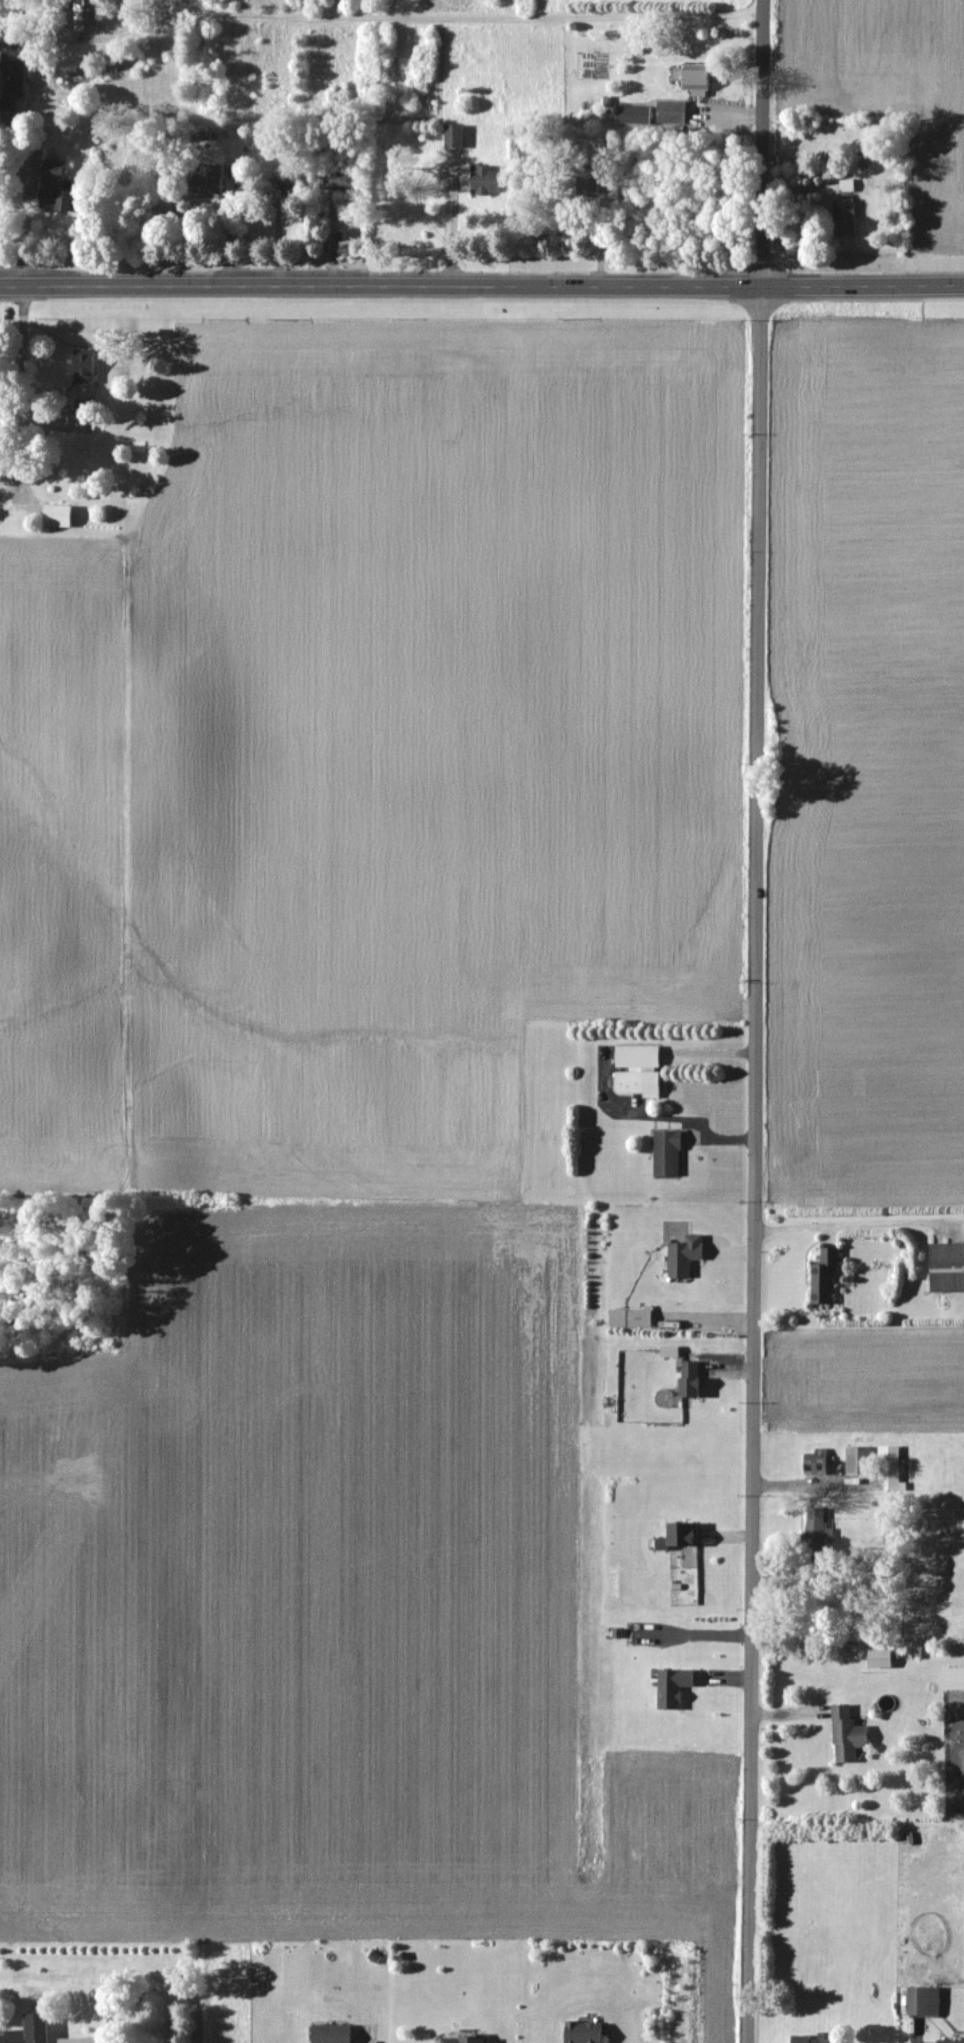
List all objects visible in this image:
building: (695, 78)
building: (10, 83)
building: (670, 111)
building: (454, 134)
building: (341, 176)
building: (484, 179)
building: (292, 180)
building: (587, 180)
building: (209, 181)
building: (847, 185)
building: (53, 186)
building: (845, 217)
road: (22, 223)
road: (862, 285)
road: (380, 287)
building: (85, 372)
road: (23, 388)
building: (57, 515)
road: (757, 1021)
building: (634, 1071)
road: (660, 1119)
building: (664, 1154)
road: (849, 1224)
building: (681, 1255)
building: (945, 1266)
building: (821, 1275)
building: (686, 1378)
building: (856, 1460)
building: (813, 1462)
building: (888, 1466)
road: (812, 1484)
building: (677, 1532)
building: (815, 1532)
building: (877, 1658)
building: (951, 1678)
building: (844, 1734)
road: (176, 1983)
building: (921, 2001)
building: (27, 2030)
building: (579, 2032)
building: (328, 2033)
building: (816, 2038)
building: (77, 2040)
building: (459, 2040)
building: (949, 2041)

